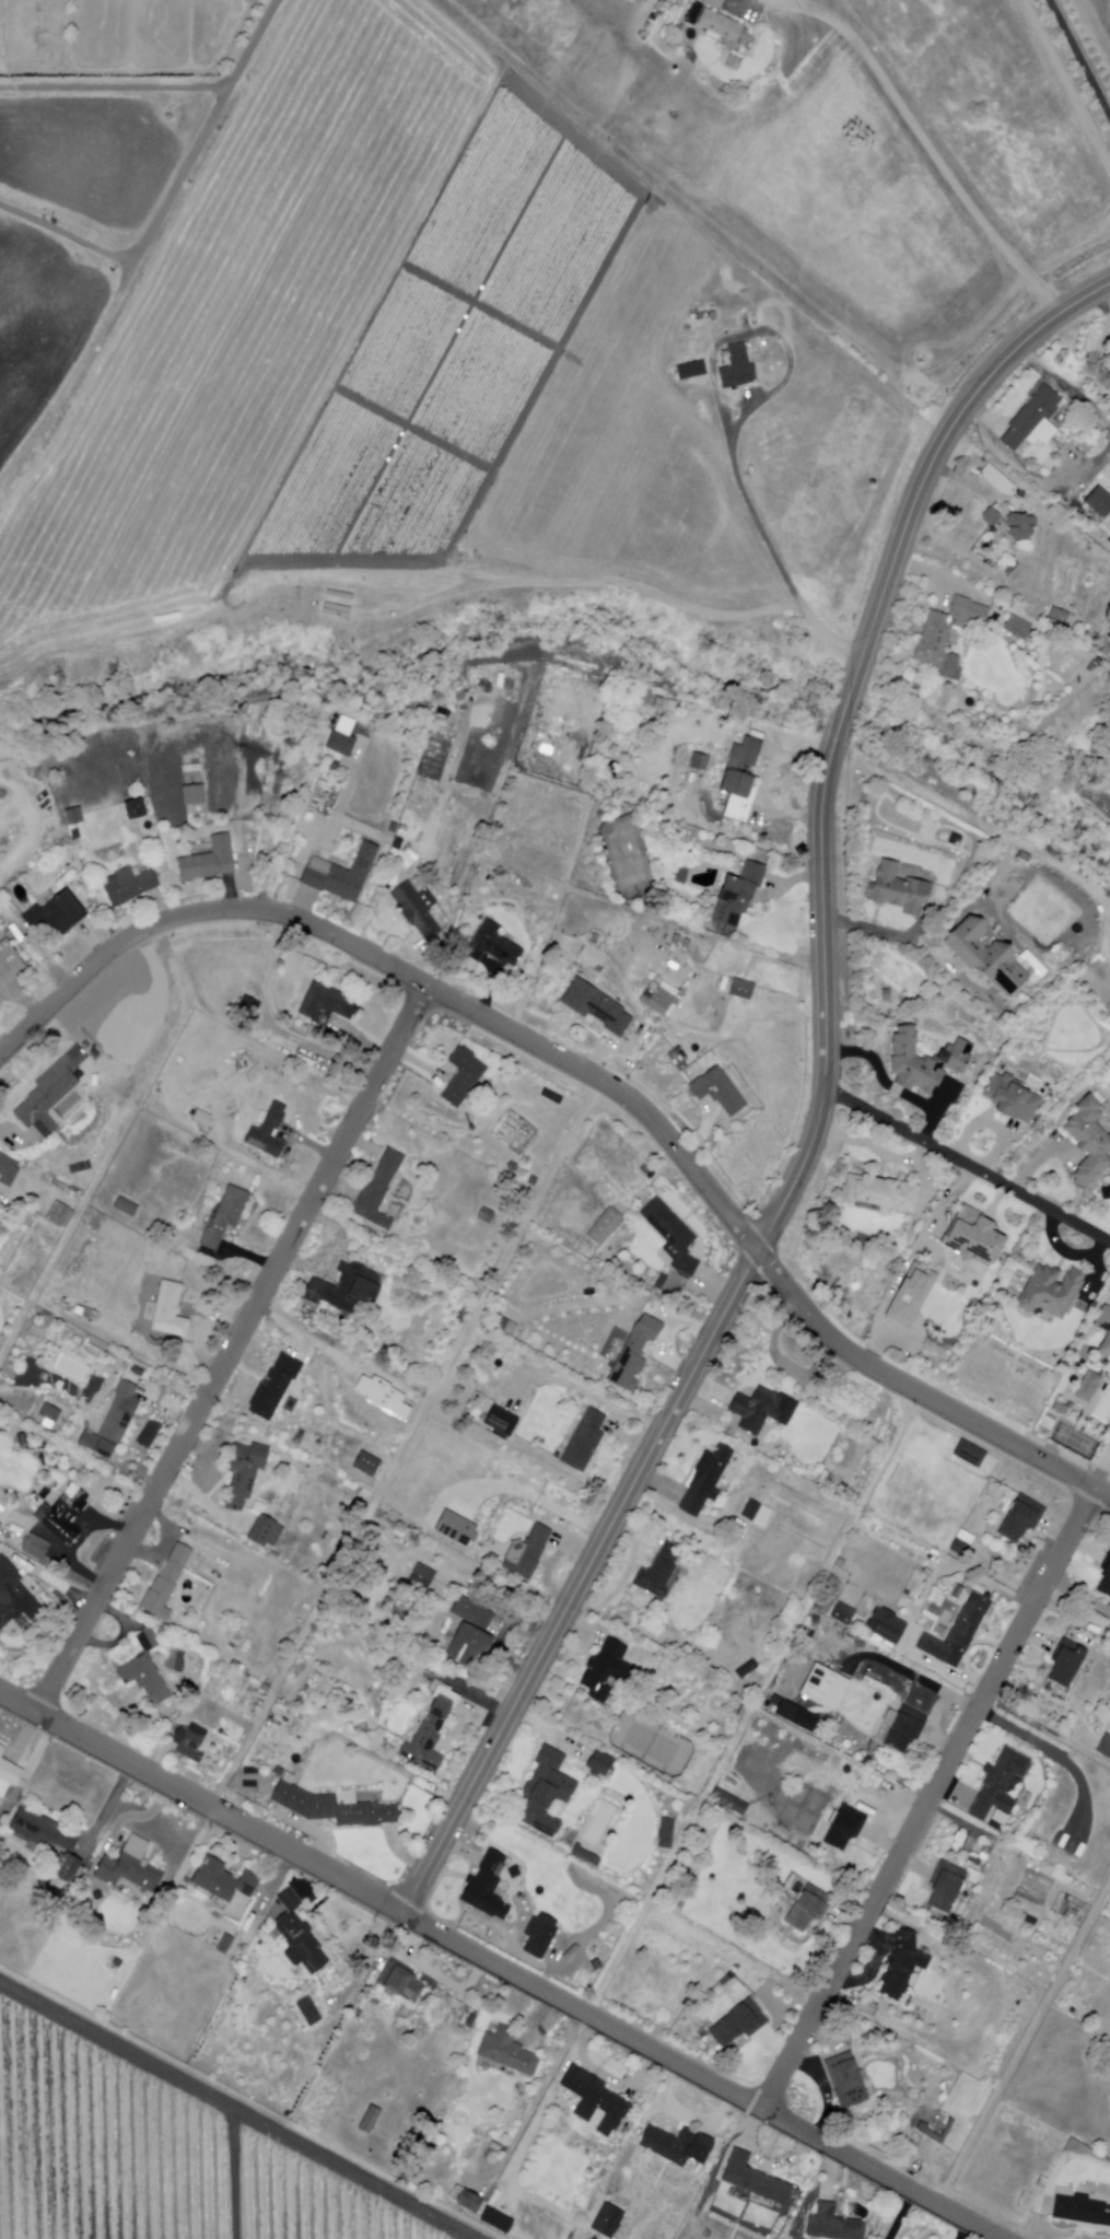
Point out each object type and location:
building: (717, 23)
crop: (1098, 23)
road: (1080, 55)
road: (236, 74)
road: (1067, 82)
road: (115, 86)
storage tank: (171, 118)
road: (924, 136)
road: (67, 235)
crop: (248, 304)
road: (105, 323)
building: (737, 369)
building: (691, 371)
building: (1033, 420)
road: (961, 482)
building: (1098, 502)
building: (991, 516)
building: (1020, 526)
road: (766, 536)
building: (342, 596)
building: (339, 611)
building: (1059, 615)
building: (1017, 627)
building: (947, 634)
building: (339, 743)
building: (698, 761)
building: (191, 768)
building: (739, 768)
building: (191, 795)
building: (135, 809)
building: (72, 816)
building: (392, 827)
building: (956, 840)
park: (628, 859)
building: (208, 860)
building: (681, 873)
building: (339, 875)
building: (128, 885)
building: (898, 890)
building: (736, 897)
building: (1, 900)
building: (416, 911)
building: (55, 914)
building: (675, 942)
building: (685, 944)
building: (493, 946)
building: (985, 956)
building: (9, 960)
building: (1031, 965)
building: (740, 989)
building: (885, 994)
building: (661, 998)
building: (327, 1003)
building: (248, 1004)
building: (596, 1006)
building: (676, 1061)
building: (923, 1062)
road: (591, 1074)
building: (464, 1075)
building: (717, 1092)
building: (47, 1096)
building: (1009, 1099)
road: (820, 1101)
building: (205, 1119)
building: (267, 1131)
building: (1090, 1142)
road: (117, 1145)
road: (966, 1164)
building: (513, 1166)
building: (7, 1170)
building: (531, 1180)
building: (378, 1188)
building: (71, 1192)
building: (880, 1194)
building: (125, 1206)
building: (486, 1214)
building: (56, 1215)
building: (225, 1216)
building: (605, 1227)
building: (671, 1235)
building: (972, 1237)
storage tank: (855, 1286)
building: (348, 1290)
building: (1052, 1291)
building: (910, 1295)
building: (168, 1311)
building: (86, 1313)
building: (505, 1325)
building: (1105, 1331)
road: (230, 1350)
building: (634, 1353)
building: (274, 1386)
building: (1089, 1386)
building: (384, 1393)
building: (761, 1409)
building: (1061, 1409)
building: (48, 1413)
building: (501, 1421)
building: (112, 1422)
park: (1076, 1439)
building: (21, 1441)
building: (584, 1441)
road: (406, 1444)
building: (970, 1453)
building: (366, 1463)
building: (413, 1470)
building: (244, 1472)
building: (706, 1480)
building: (65, 1513)
building: (757, 1514)
building: (1021, 1518)
building: (456, 1526)
building: (266, 1531)
building: (962, 1543)
building: (35, 1547)
building: (527, 1553)
building: (273, 1556)
building: (840, 1563)
building: (657, 1572)
building: (423, 1576)
building: (1106, 1577)
building: (166, 1582)
building: (959, 1593)
building: (14, 1596)
building: (844, 1613)
building: (887, 1625)
building: (940, 1631)
building: (958, 1632)
building: (470, 1633)
building: (145, 1641)
building: (1067, 1663)
building: (747, 1669)
building: (606, 1670)
building: (143, 1679)
building: (430, 1686)
building: (825, 1688)
building: (775, 1700)
road: (755, 1704)
building: (738, 1711)
building: (797, 1716)
building: (280, 1723)
building: (902, 1727)
building: (431, 1731)
building: (190, 1742)
park: (652, 1744)
building: (1105, 1746)
building: (7, 1768)
building: (279, 1772)
building: (773, 1779)
building: (1, 1783)
building: (998, 1784)
building: (545, 1793)
road: (928, 1799)
building: (729, 1801)
building: (330, 1808)
building: (994, 1824)
building: (844, 1827)
building: (665, 1834)
building: (50, 1842)
building: (586, 1856)
building: (975, 1862)
building: (130, 1869)
building: (222, 1881)
building: (484, 1885)
building: (946, 1886)
building: (808, 1909)
building: (1073, 1916)
building: (1031, 1921)
building: (299, 1935)
building: (539, 1935)
building: (229, 1944)
building: (116, 1962)
building: (596, 1964)
building: (902, 1966)
road: (500, 1967)
building: (727, 1979)
building: (398, 1982)
building: (1017, 2006)
building: (307, 2013)
building: (739, 2024)
road: (1024, 2042)
building: (506, 2052)
building: (846, 2080)
building: (594, 2099)
road: (235, 2111)
building: (366, 2116)
building: (374, 2119)
building: (937, 2125)
building: (944, 2133)
building: (676, 2145)
building: (918, 2157)
road: (241, 2177)
building: (755, 2180)
building: (468, 2201)
building: (1080, 2209)
building: (496, 2220)
building: (566, 2220)
building: (606, 2220)
building: (832, 2224)

